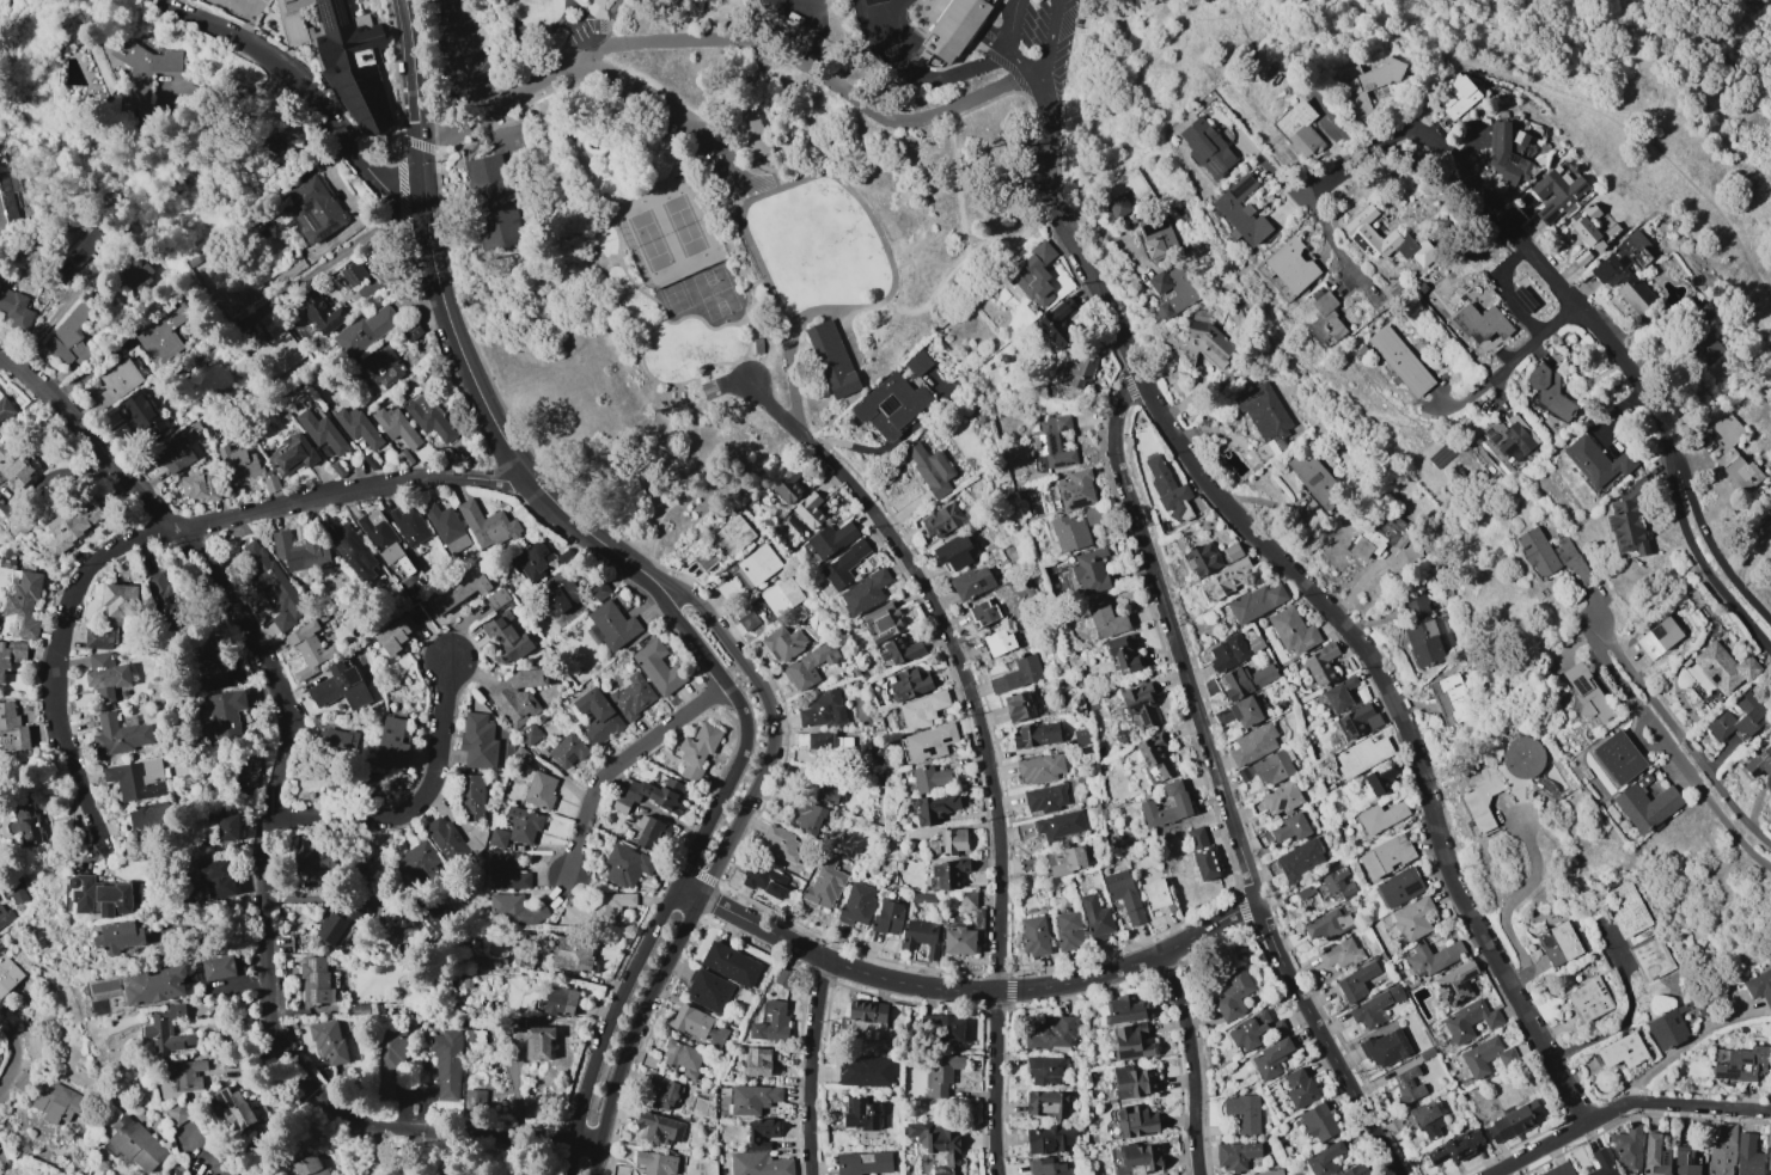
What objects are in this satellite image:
building: (582, 1)
road: (580, 7)
road: (599, 19)
road: (1010, 26)
road: (1686, 27)
road: (535, 29)
road: (586, 29)
parking lot: (587, 30)
building: (952, 30)
road: (1049, 36)
parking lot: (458, 51)
building: (342, 56)
road: (462, 57)
road: (1020, 61)
road: (955, 71)
building: (141, 74)
building: (1366, 82)
road: (833, 84)
road: (300, 85)
road: (521, 91)
building: (1457, 97)
road: (664, 104)
road: (955, 118)
road: (1226, 121)
road: (1618, 122)
road: (496, 129)
building: (749, 129)
building: (1299, 129)
traffic signals: (419, 134)
road: (667, 134)
road: (616, 139)
parking lot: (507, 141)
building: (1517, 142)
parking lot: (706, 145)
building: (274, 149)
road: (679, 153)
building: (1506, 157)
road: (769, 170)
road: (837, 177)
road: (715, 184)
road: (643, 188)
road: (737, 190)
building: (1556, 192)
building: (5, 196)
traffic signals: (422, 200)
building: (491, 203)
building: (312, 208)
building: (1241, 210)
road: (960, 219)
building: (1154, 219)
road: (1513, 228)
road: (1009, 231)
park: (667, 232)
park: (701, 233)
road: (1109, 233)
building: (1587, 235)
building: (1385, 239)
road: (1332, 244)
building: (80, 253)
building: (1622, 259)
road: (319, 269)
building: (1287, 269)
building: (353, 273)
building: (136, 274)
building: (1033, 274)
road: (1506, 288)
park: (714, 292)
building: (1170, 294)
building: (1635, 295)
park: (673, 296)
building: (1523, 300)
road: (888, 304)
building: (14, 310)
building: (320, 313)
road: (56, 316)
road: (625, 316)
building: (1324, 320)
road: (666, 322)
road: (741, 322)
building: (1482, 322)
building: (1057, 323)
building: (366, 330)
road: (847, 332)
road: (1539, 332)
road: (452, 333)
building: (161, 335)
building: (69, 337)
building: (1197, 342)
building: (757, 345)
building: (275, 349)
building: (1705, 349)
building: (832, 359)
building: (1399, 360)
building: (917, 363)
road: (789, 365)
building: (383, 368)
building: (1079, 368)
building: (116, 383)
road: (698, 390)
building: (1549, 392)
building: (890, 405)
building: (5, 410)
building: (142, 416)
building: (428, 416)
road: (795, 416)
building: (1263, 416)
building: (396, 426)
building: (356, 427)
building: (320, 432)
building: (1510, 437)
building: (1054, 441)
building: (1733, 453)
building: (175, 454)
building: (291, 454)
building: (1596, 463)
building: (238, 464)
building: (13, 466)
building: (929, 469)
building: (1160, 476)
building: (1314, 483)
building: (787, 485)
building: (199, 486)
building: (1075, 490)
building: (1178, 504)
building: (808, 509)
building: (1629, 519)
building: (941, 520)
building: (73, 524)
building: (487, 525)
building: (409, 526)
building: (446, 527)
building: (1075, 530)
building: (1770, 530)
road: (161, 532)
building: (732, 536)
building: (1381, 536)
building: (380, 537)
building: (830, 539)
road: (1708, 541)
road: (1748, 544)
building: (300, 551)
building: (353, 551)
building: (955, 551)
building: (1234, 552)
building: (1545, 552)
building: (703, 558)
building: (532, 559)
building: (1204, 559)
road: (1697, 559)
building: (843, 564)
building: (756, 565)
building: (1089, 570)
building: (1229, 579)
building: (972, 582)
building: (270, 583)
road: (1312, 589)
building: (457, 590)
building: (599, 590)
building: (558, 593)
building: (863, 593)
building: (166, 596)
building: (781, 596)
building: (120, 604)
building: (1257, 604)
building: (22, 607)
building: (982, 612)
building: (1104, 618)
building: (747, 620)
building: (883, 622)
building: (612, 625)
building: (1294, 631)
building: (395, 635)
building: (1424, 635)
road: (1174, 637)
building: (1657, 637)
building: (100, 638)
building: (506, 638)
building: (997, 642)
building: (783, 643)
building: (309, 649)
building: (900, 651)
building: (1229, 654)
building: (11, 655)
building: (1125, 655)
building: (1323, 665)
building: (808, 666)
building: (210, 667)
building: (658, 667)
building: (1723, 667)
building: (1016, 674)
building: (108, 677)
building: (1248, 680)
building: (909, 684)
building: (1211, 686)
building: (340, 687)
building: (1584, 692)
building: (518, 696)
building: (633, 696)
building: (1341, 696)
building: (1449, 703)
building: (1018, 706)
building: (1140, 706)
building: (822, 710)
building: (922, 710)
building: (1246, 712)
building: (226, 714)
building: (597, 716)
building: (1223, 716)
building: (1738, 718)
building: (1360, 721)
building: (12, 728)
building: (529, 734)
building: (122, 735)
building: (1037, 735)
road: (984, 738)
road: (1678, 738)
building: (336, 741)
building: (477, 741)
building: (822, 742)
building: (929, 742)
building: (391, 743)
building: (1253, 745)
building: (696, 749)
building: (567, 751)
road: (1673, 753)
building: (1364, 755)
building: (1156, 758)
building: (1523, 758)
building: (1617, 758)
road: (617, 763)
building: (1760, 763)
building: (1039, 769)
building: (1268, 769)
building: (248, 772)
building: (930, 778)
building: (1384, 778)
building: (139, 779)
building: (539, 790)
building: (820, 790)
building: (651, 795)
building: (471, 796)
building: (1044, 798)
building: (1282, 798)
road: (416, 802)
building: (1482, 803)
building: (1183, 804)
building: (1256, 806)
building: (1645, 806)
building: (934, 808)
road: (270, 812)
building: (806, 815)
building: (151, 818)
building: (1382, 818)
building: (25, 825)
building: (1059, 825)
building: (228, 827)
building: (517, 827)
building: (1290, 828)
building: (651, 833)
building: (1263, 838)
building: (445, 840)
building: (947, 842)
building: (778, 843)
building: (1203, 853)
road: (1342, 857)
building: (1390, 857)
building: (1301, 859)
building: (312, 861)
building: (1065, 861)
building: (419, 862)
building: (625, 865)
road: (714, 865)
building: (506, 871)
building: (948, 873)
road: (680, 874)
building: (764, 880)
building: (824, 883)
building: (1326, 887)
building: (1400, 889)
road: (686, 891)
building: (1124, 894)
building: (104, 896)
building: (1156, 898)
building: (967, 900)
building: (857, 904)
road: (1503, 908)
building: (514, 910)
building: (597, 910)
building: (1626, 910)
building: (4, 914)
building: (435, 916)
building: (1095, 916)
building: (887, 917)
building: (1415, 919)
building: (1325, 924)
building: (336, 926)
building: (1068, 930)
building: (1033, 935)
building: (120, 936)
building: (921, 936)
building: (959, 940)
building: (1559, 944)
building: (570, 953)
building: (1339, 954)
building: (1434, 959)
building: (1651, 960)
building: (729, 963)
building: (218, 967)
building: (7, 974)
building: (317, 983)
building: (1355, 983)
road: (245, 985)
building: (1457, 985)
building: (136, 987)
building: (1759, 987)
building: (708, 991)
road: (978, 991)
building: (1232, 993)
building: (1588, 999)
building: (560, 1000)
building: (1374, 1008)
building: (1125, 1009)
road: (1626, 1010)
building: (866, 1020)
building: (1471, 1021)
building: (771, 1023)
building: (697, 1026)
building: (167, 1029)
building: (941, 1029)
building: (1252, 1029)
building: (1667, 1030)
building: (1050, 1032)
building: (328, 1041)
building: (535, 1041)
building: (1131, 1041)
road: (1326, 1041)
road: (1684, 1046)
building: (1385, 1047)
building: (1622, 1051)
road: (12, 1055)
building: (682, 1058)
building: (1271, 1058)
building: (1488, 1058)
building: (387, 1060)
building: (756, 1061)
road: (1195, 1061)
building: (446, 1063)
building: (1740, 1064)
road: (813, 1065)
building: (865, 1071)
building: (1044, 1071)
building: (940, 1073)
building: (181, 1077)
building: (1134, 1082)
building: (1407, 1084)
building: (1299, 1088)
building: (660, 1093)
building: (474, 1098)
building: (752, 1098)
building: (56, 1102)
building: (1046, 1104)
road: (1623, 1107)
building: (233, 1108)
building: (1242, 1112)
building: (177, 1113)
building: (860, 1114)
building: (1427, 1119)
building: (1136, 1120)
building: (1318, 1122)
building: (1512, 1122)
building: (659, 1128)
building: (761, 1133)
building: (1049, 1139)
building: (135, 1144)
road: (585, 1144)
building: (938, 1144)
road: (254, 1148)
building: (1454, 1148)
building: (1625, 1149)
building: (1769, 1153)
building: (1235, 1155)
building: (1654, 1156)
building: (1747, 1156)
building: (1136, 1158)
building: (1324, 1159)
building: (1684, 1162)
building: (655, 1163)
building: (863, 1163)
building: (1601, 1163)
building: (758, 1164)
building: (309, 1167)
building: (1048, 1167)
building: (1558, 1170)
building: (1269, 1173)
building: (228, 1174)
building: (1160, 1174)

